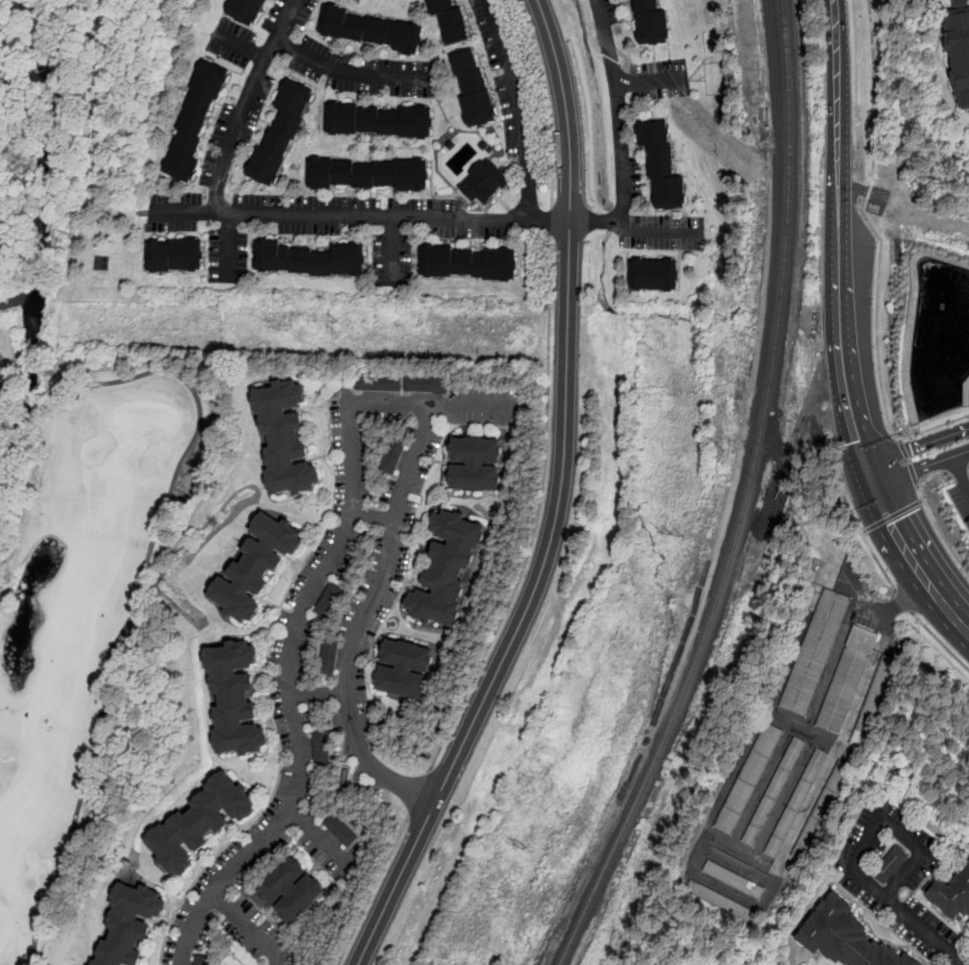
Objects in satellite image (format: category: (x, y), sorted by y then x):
building: (359, 0)
building: (362, 0)
building: (246, 10)
building: (448, 20)
building: (653, 22)
building: (369, 30)
building: (959, 47)
road: (351, 72)
road: (649, 80)
building: (472, 90)
road: (545, 101)
road: (517, 107)
building: (194, 120)
building: (377, 121)
road: (236, 129)
road: (619, 133)
building: (280, 134)
building: (664, 165)
building: (367, 175)
building: (482, 182)
road: (361, 215)
road: (551, 222)
road: (871, 223)
road: (655, 232)
road: (394, 250)
building: (174, 256)
building: (308, 260)
building: (466, 264)
building: (655, 276)
power tower: (335, 325)
power tower: (663, 335)
road: (839, 335)
road: (5, 361)
building: (378, 383)
building: (426, 385)
river: (16, 390)
road: (469, 406)
road: (933, 427)
building: (283, 439)
traffic signals: (859, 442)
road: (918, 446)
traffic signals: (911, 449)
building: (391, 457)
road: (909, 464)
building: (474, 465)
road: (921, 467)
road: (956, 467)
road: (960, 476)
road: (929, 477)
railway: (743, 498)
road: (559, 501)
road: (537, 515)
road: (373, 516)
road: (892, 517)
traffic signals: (891, 523)
road: (940, 532)
power tower: (676, 533)
road: (872, 553)
building: (255, 567)
building: (446, 570)
park: (77, 585)
road: (378, 585)
road: (136, 599)
building: (328, 601)
road: (905, 603)
road: (893, 606)
road: (940, 641)
building: (814, 652)
building: (328, 657)
building: (403, 669)
building: (846, 678)
road: (318, 693)
road: (290, 697)
building: (233, 699)
building: (872, 700)
building: (382, 725)
building: (320, 749)
building: (344, 777)
building: (749, 778)
building: (775, 791)
road: (417, 793)
building: (796, 802)
building: (820, 810)
building: (199, 823)
building: (339, 830)
road: (898, 834)
road: (317, 839)
power tower: (520, 848)
building: (891, 864)
building: (734, 879)
building: (290, 890)
road: (373, 890)
building: (950, 894)
building: (722, 900)
road: (910, 920)
building: (128, 925)
road: (248, 926)
building: (847, 937)
building: (201, 960)

